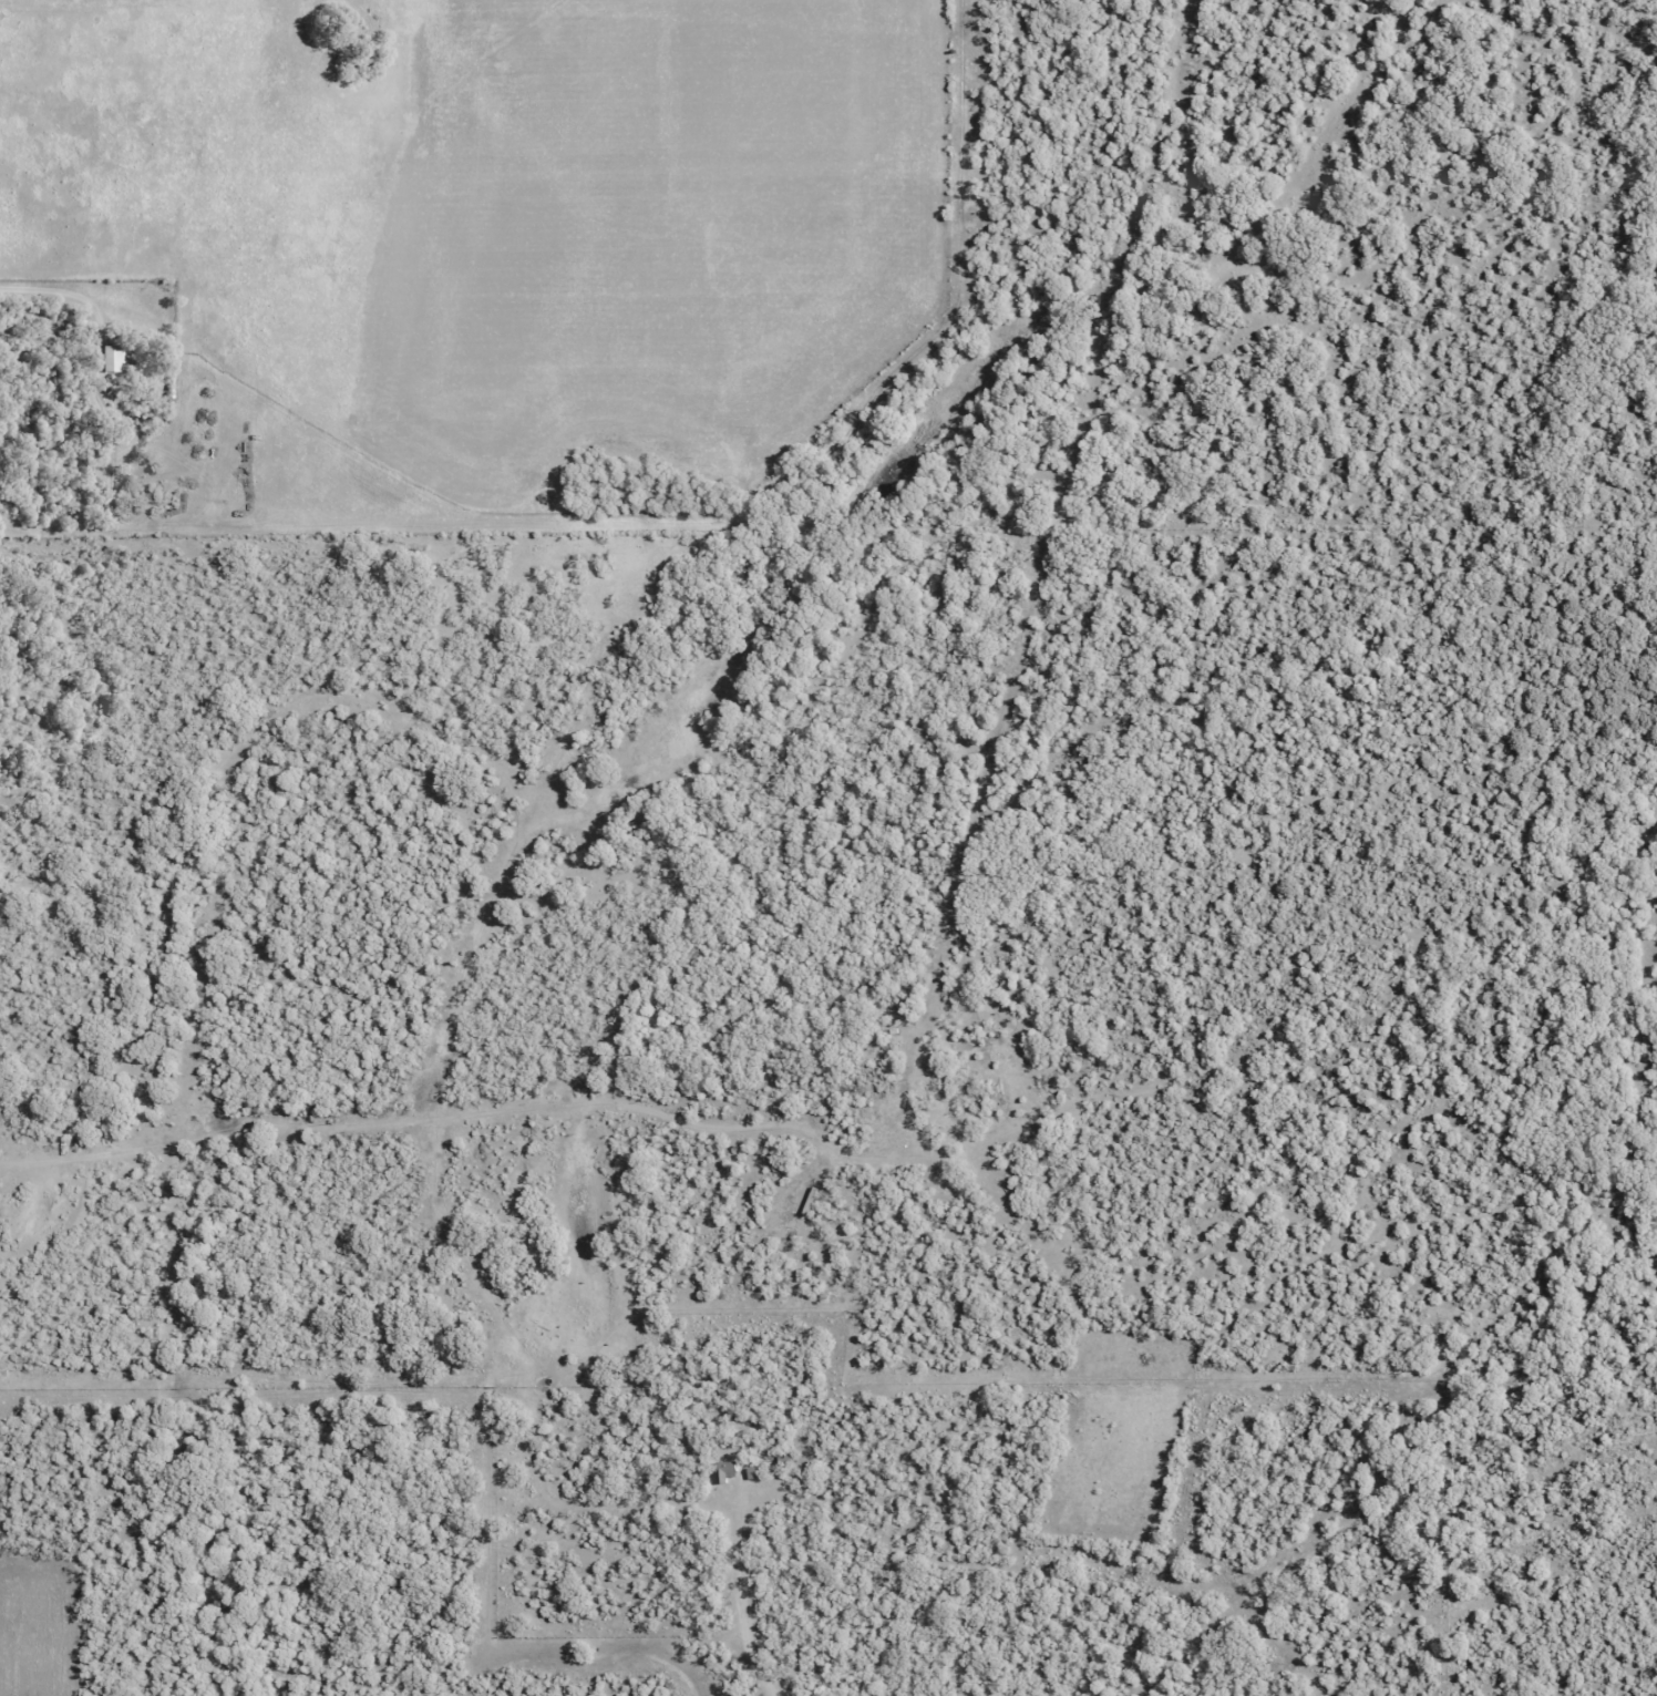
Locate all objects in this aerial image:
building: (110, 358)
building: (724, 1469)
road: (740, 1604)

